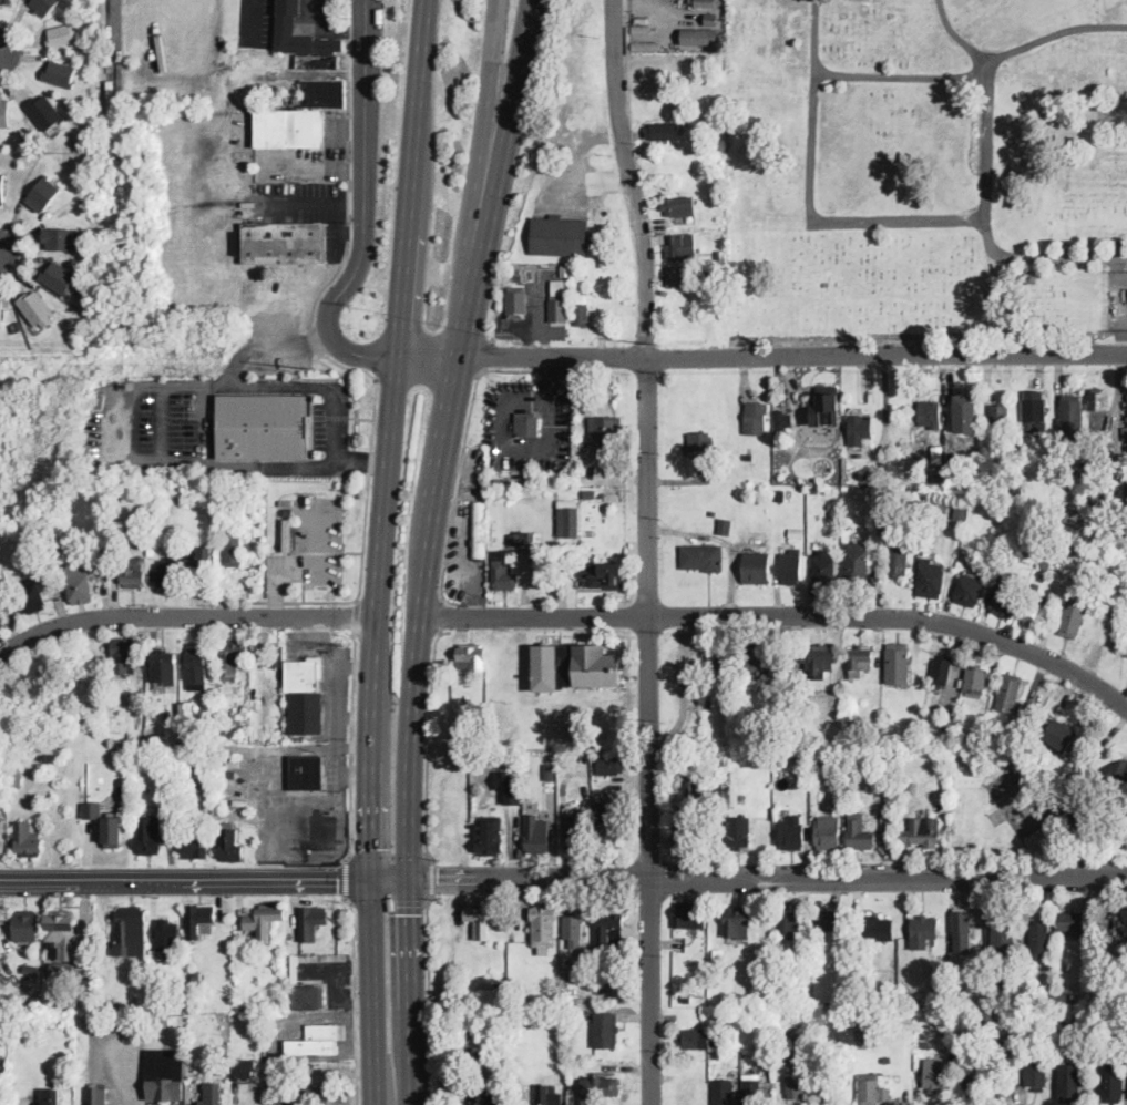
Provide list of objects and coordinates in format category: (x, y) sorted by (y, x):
building: (6, 2)
building: (706, 3)
building: (44, 6)
building: (642, 19)
building: (711, 20)
parking lot: (256, 22)
road: (252, 23)
building: (637, 32)
building: (62, 35)
road: (956, 35)
building: (703, 38)
building: (305, 41)
building: (646, 47)
road: (973, 70)
building: (60, 74)
road: (115, 76)
building: (324, 93)
road: (514, 93)
road: (488, 94)
building: (45, 112)
building: (4, 113)
building: (289, 126)
building: (664, 131)
building: (24, 139)
parking lot: (309, 155)
road: (315, 165)
park: (928, 171)
road: (412, 177)
building: (2, 191)
building: (43, 194)
road: (809, 196)
road: (314, 201)
parking lot: (307, 206)
building: (680, 207)
road: (365, 208)
road: (490, 218)
road: (987, 224)
building: (561, 236)
building: (60, 239)
building: (285, 243)
building: (683, 248)
building: (720, 256)
building: (605, 259)
building: (565, 270)
building: (679, 275)
building: (59, 278)
road: (328, 284)
road: (474, 301)
building: (516, 303)
building: (559, 303)
building: (35, 308)
building: (583, 310)
building: (1, 314)
building: (19, 327)
road: (316, 340)
power tower: (660, 344)
road: (270, 348)
road: (761, 357)
power tower: (318, 368)
road: (551, 376)
road: (205, 392)
building: (101, 399)
building: (1098, 402)
building: (827, 403)
building: (966, 412)
building: (930, 413)
building: (1033, 413)
building: (1002, 415)
road: (361, 418)
building: (756, 418)
building: (1073, 418)
building: (783, 420)
road: (162, 421)
building: (527, 422)
building: (260, 424)
building: (605, 428)
building: (860, 429)
building: (1125, 433)
building: (943, 438)
building: (700, 441)
road: (447, 444)
road: (550, 447)
building: (1017, 447)
building: (1126, 448)
building: (938, 454)
building: (749, 456)
road: (370, 458)
road: (362, 459)
building: (980, 459)
road: (460, 463)
building: (864, 477)
building: (939, 478)
building: (1004, 479)
building: (587, 480)
building: (1018, 488)
building: (816, 490)
building: (1126, 490)
building: (590, 494)
building: (606, 494)
building: (1103, 494)
building: (780, 497)
building: (936, 509)
building: (960, 510)
building: (288, 511)
building: (714, 514)
building: (570, 520)
building: (102, 521)
building: (1093, 525)
building: (725, 526)
building: (479, 531)
building: (592, 532)
building: (115, 533)
building: (889, 538)
building: (518, 539)
building: (535, 543)
parking lot: (311, 546)
building: (151, 549)
building: (234, 549)
road: (648, 552)
building: (970, 556)
building: (703, 557)
building: (1046, 560)
building: (198, 561)
building: (898, 563)
building: (857, 565)
building: (1002, 566)
building: (791, 567)
road: (308, 569)
building: (757, 569)
building: (823, 569)
building: (133, 572)
building: (503, 572)
building: (167, 573)
building: (602, 575)
building: (1042, 575)
road: (424, 576)
building: (931, 579)
building: (80, 583)
building: (1061, 587)
building: (1036, 589)
building: (8, 590)
building: (970, 590)
building: (32, 595)
building: (1006, 600)
road: (304, 601)
building: (1033, 610)
road: (440, 613)
road: (783, 615)
road: (184, 616)
road: (355, 616)
building: (1075, 617)
building: (1, 620)
road: (606, 634)
building: (125, 655)
building: (277, 656)
building: (757, 656)
building: (233, 657)
building: (472, 657)
building: (820, 661)
building: (860, 661)
building: (723, 664)
building: (898, 664)
building: (165, 667)
building: (574, 667)
road: (356, 668)
building: (196, 669)
road: (636, 671)
building: (942, 671)
road: (339, 678)
road: (629, 678)
building: (975, 682)
building: (1010, 694)
building: (305, 695)
building: (709, 704)
building: (802, 704)
building: (782, 708)
building: (187, 710)
building: (136, 712)
building: (234, 714)
building: (849, 717)
power tower: (665, 720)
building: (947, 723)
building: (223, 728)
road: (370, 729)
building: (801, 730)
building: (885, 730)
building: (1015, 731)
building: (1062, 735)
building: (759, 739)
road: (429, 740)
road: (351, 745)
road: (411, 748)
building: (885, 757)
building: (830, 759)
road: (259, 761)
building: (611, 766)
building: (307, 770)
building: (173, 771)
building: (803, 771)
building: (550, 773)
building: (232, 774)
building: (1114, 775)
building: (16, 777)
building: (889, 787)
building: (122, 788)
building: (691, 788)
building: (908, 788)
building: (0, 790)
building: (721, 791)
building: (513, 797)
building: (225, 800)
building: (720, 801)
building: (1062, 804)
park: (1005, 807)
building: (93, 809)
building: (174, 810)
building: (1076, 814)
road: (315, 816)
building: (608, 817)
building: (184, 820)
parking lot: (300, 827)
building: (112, 830)
building: (739, 831)
building: (859, 832)
building: (922, 832)
building: (792, 833)
building: (828, 833)
building: (537, 835)
building: (576, 835)
building: (151, 836)
building: (489, 836)
building: (686, 836)
building: (28, 839)
building: (230, 843)
building: (2, 845)
building: (194, 845)
traffic signals: (370, 848)
road: (388, 855)
road: (60, 877)
road: (152, 877)
road: (277, 877)
traffic signals: (338, 877)
road: (431, 877)
road: (346, 878)
road: (391, 879)
road: (768, 879)
traffic signals: (438, 881)
road: (389, 901)
traffic signals: (411, 913)
building: (690, 914)
building: (479, 919)
building: (827, 919)
building: (199, 920)
building: (265, 920)
building: (311, 921)
building: (738, 921)
building: (1073, 921)
building: (961, 922)
building: (1004, 922)
building: (544, 923)
building: (793, 923)
building: (1120, 923)
building: (25, 927)
building: (574, 929)
building: (879, 929)
building: (925, 929)
building: (611, 930)
building: (132, 931)
building: (167, 933)
building: (1003, 935)
building: (61, 937)
building: (1039, 938)
building: (819, 939)
building: (719, 953)
power tower: (663, 954)
building: (956, 964)
road: (411, 966)
building: (31, 970)
building: (62, 971)
building: (197, 975)
building: (1014, 976)
building: (701, 979)
building: (500, 989)
building: (593, 990)
road: (336, 991)
building: (880, 993)
building: (995, 993)
building: (1052, 993)
road: (428, 995)
building: (308, 996)
road: (354, 997)
building: (1062, 997)
building: (1080, 997)
building: (542, 1000)
building: (250, 1006)
building: (943, 1022)
building: (164, 1023)
building: (732, 1023)
building: (1095, 1029)
building: (606, 1030)
building: (862, 1030)
building: (0, 1032)
building: (945, 1032)
building: (994, 1037)
building: (696, 1039)
building: (318, 1040)
building: (788, 1042)
road: (349, 1043)
building: (223, 1052)
building: (564, 1052)
building: (889, 1060)
building: (244, 1070)
building: (165, 1074)
building: (934, 1074)
road: (319, 1075)
building: (1036, 1075)
building: (967, 1077)
road: (414, 1080)
building: (795, 1081)
building: (1111, 1082)
building: (1069, 1084)
building: (601, 1087)
building: (752, 1089)
building: (872, 1089)
building: (725, 1092)
building: (212, 1094)
building: (483, 1094)
building: (550, 1094)
building: (103, 1096)
building: (324, 1096)
building: (51, 1097)
building: (1080, 1104)

